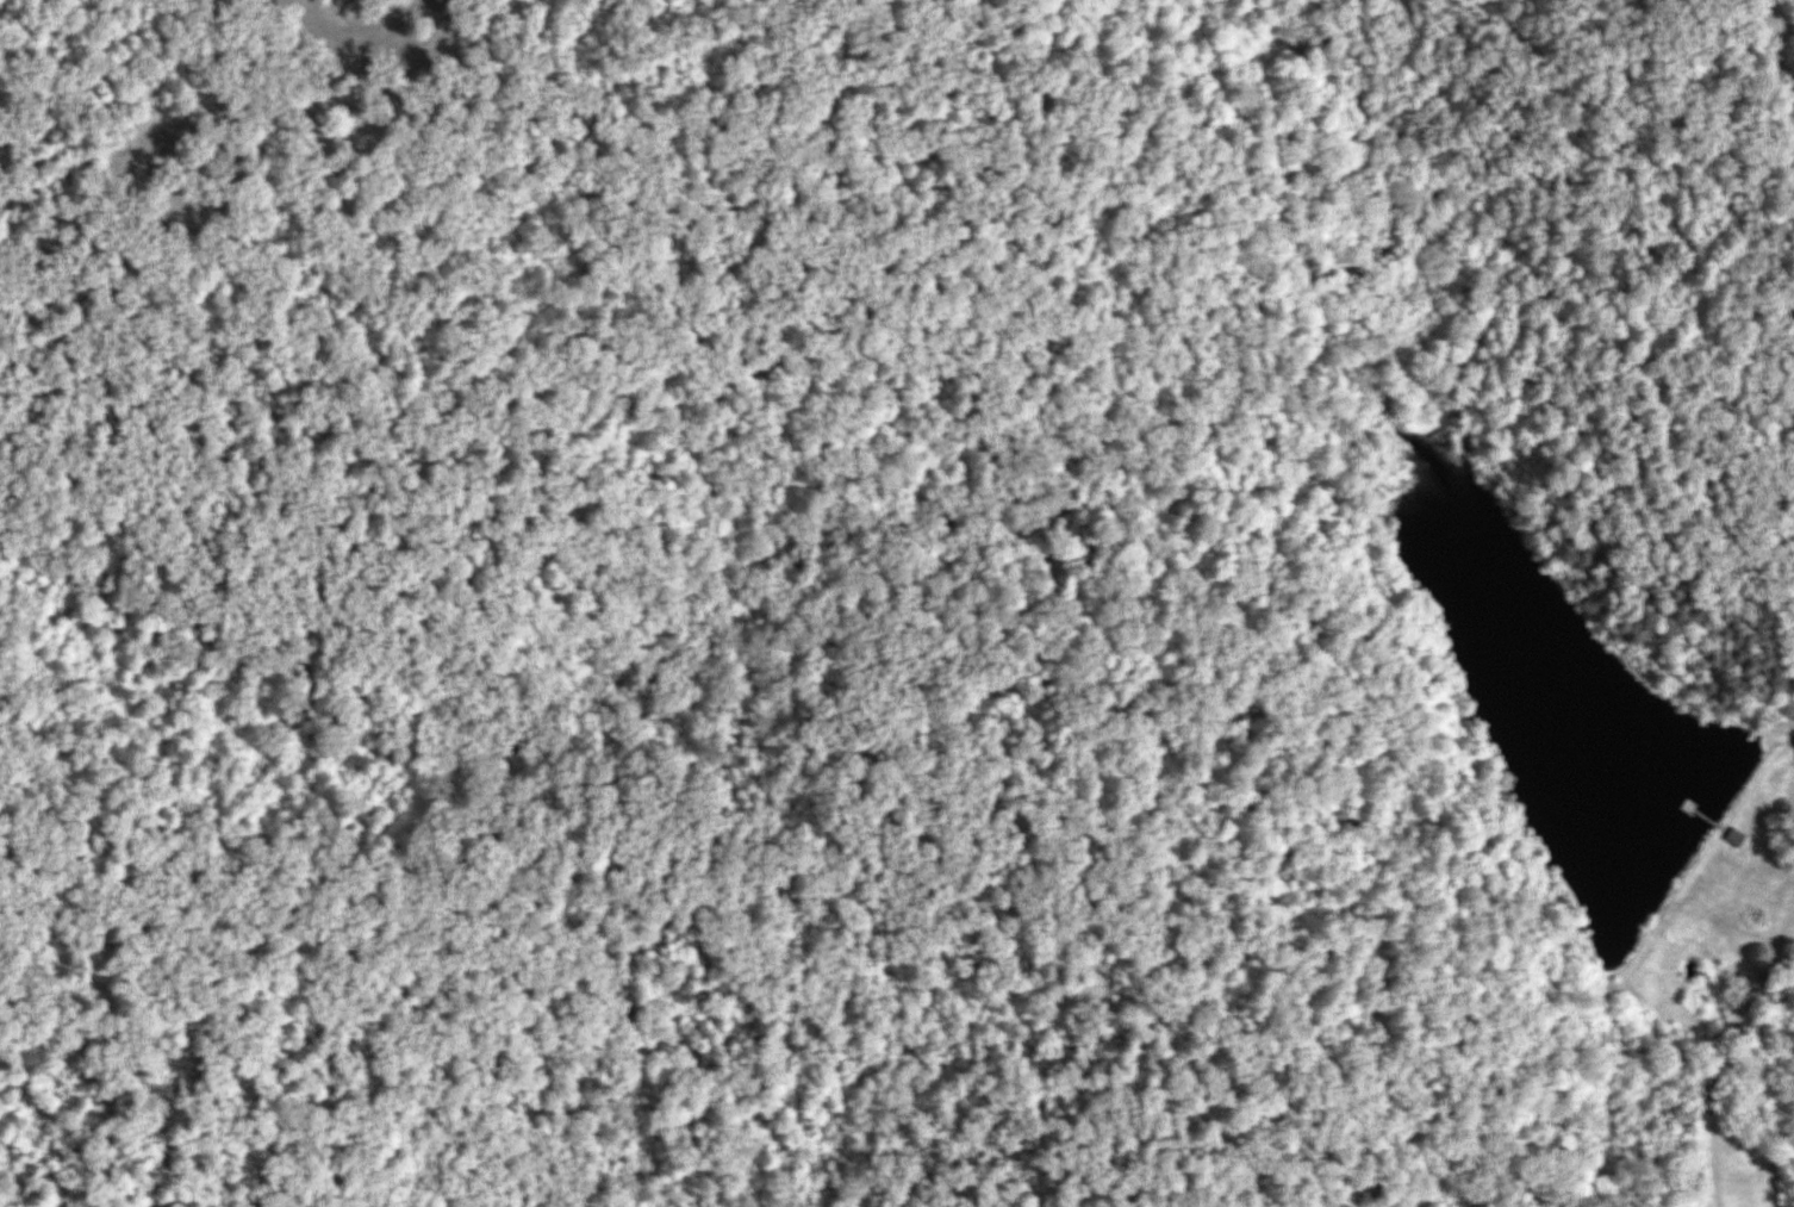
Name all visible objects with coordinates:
building: (1724, 839)

